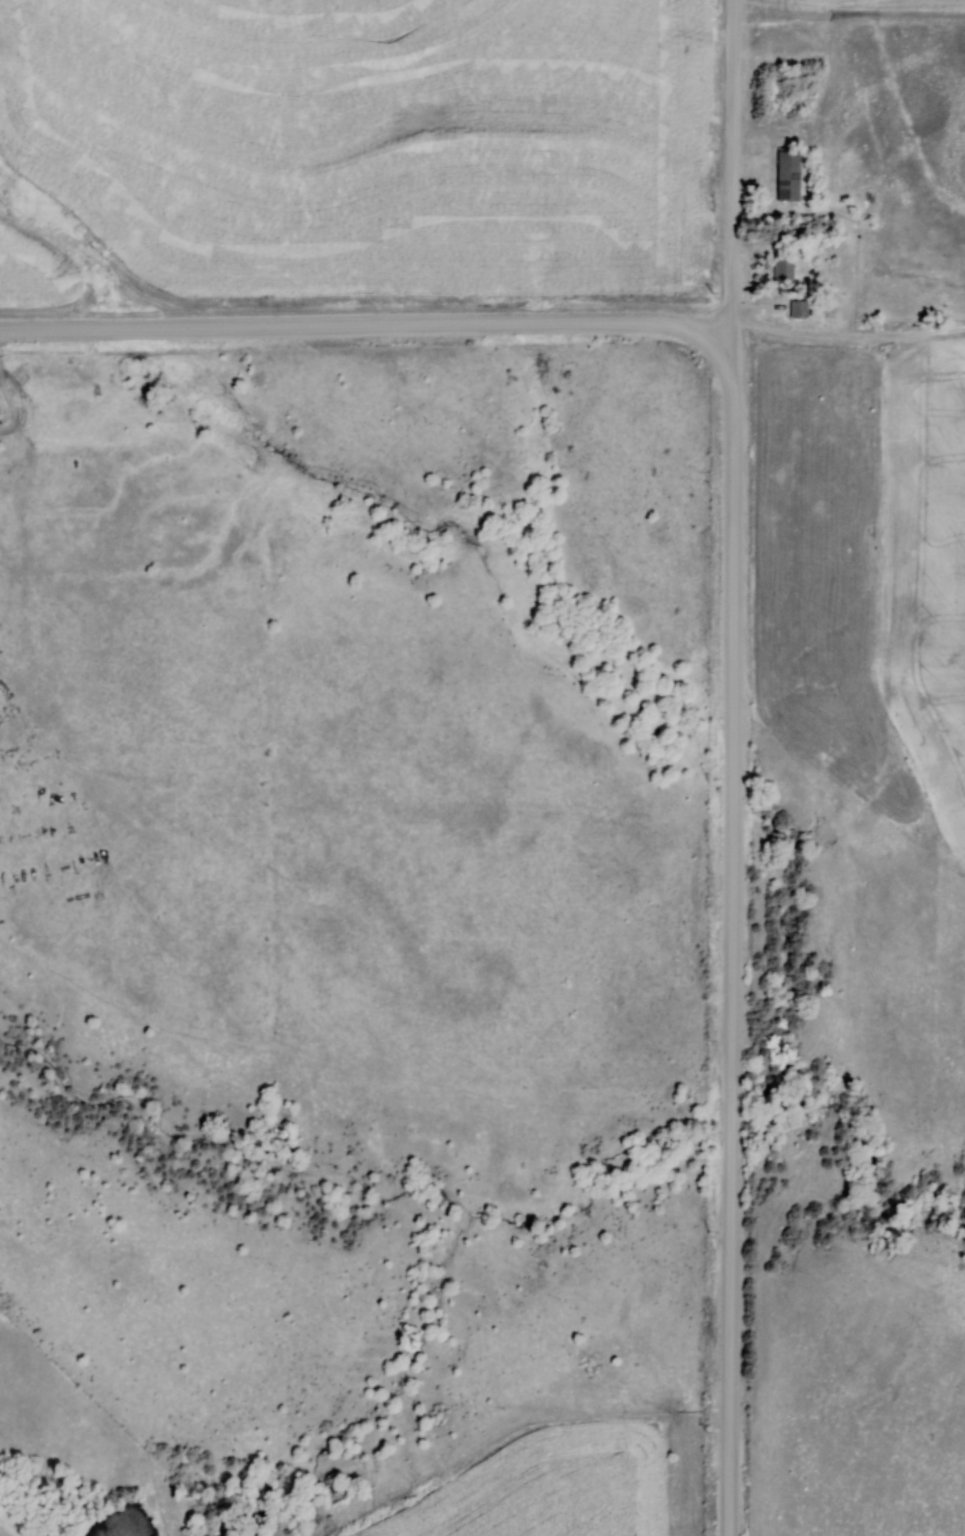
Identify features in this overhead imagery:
road: (737, 172)
building: (786, 173)
building: (782, 269)
road: (357, 327)
road: (738, 933)

